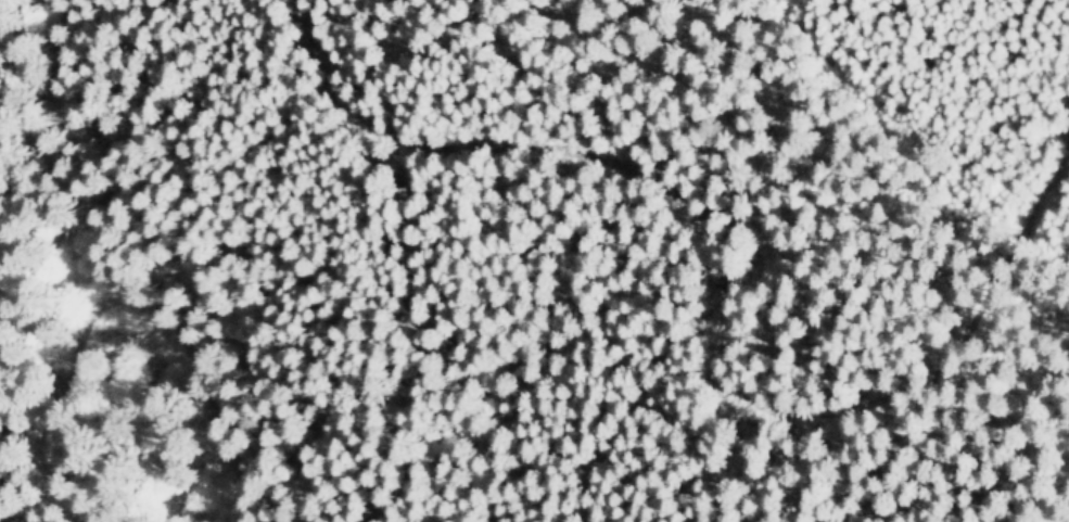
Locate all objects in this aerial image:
road: (657, 308)
road: (67, 368)

